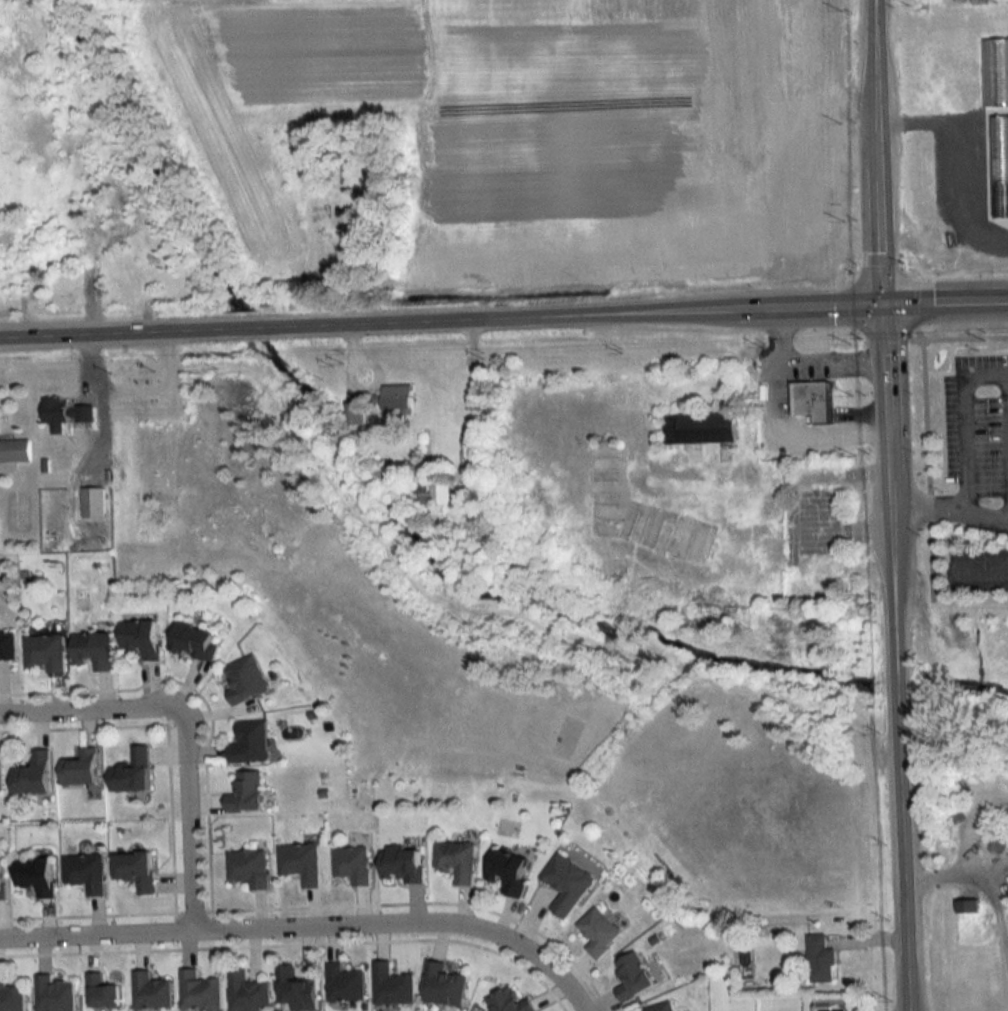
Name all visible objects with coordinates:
road: (873, 63)
building: (994, 73)
crop: (526, 121)
road: (968, 152)
building: (999, 166)
building: (370, 212)
road: (879, 215)
road: (945, 302)
traffic signals: (883, 304)
road: (822, 306)
road: (380, 321)
road: (936, 335)
road: (832, 361)
building: (397, 400)
building: (813, 400)
building: (353, 413)
building: (65, 414)
road: (965, 416)
road: (779, 425)
building: (699, 427)
building: (14, 451)
road: (929, 459)
building: (419, 485)
road: (891, 489)
building: (440, 493)
building: (92, 502)
road: (950, 505)
building: (772, 555)
road: (982, 557)
building: (822, 573)
building: (139, 637)
building: (193, 641)
building: (6, 645)
building: (91, 649)
building: (43, 652)
building: (245, 679)
road: (203, 702)
road: (105, 707)
road: (84, 726)
building: (248, 743)
building: (78, 768)
building: (131, 771)
building: (31, 775)
building: (245, 793)
road: (167, 818)
road: (188, 834)
road: (904, 842)
building: (456, 860)
building: (299, 863)
building: (351, 865)
building: (401, 865)
building: (247, 868)
building: (134, 870)
building: (83, 872)
building: (506, 873)
building: (33, 875)
road: (992, 877)
building: (0, 882)
building: (566, 884)
road: (423, 901)
road: (189, 910)
road: (89, 914)
building: (968, 920)
road: (308, 924)
building: (598, 932)
road: (294, 943)
building: (820, 960)
building: (632, 976)
building: (343, 983)
building: (441, 984)
building: (391, 985)
building: (294, 990)
building: (100, 992)
building: (149, 992)
building: (198, 992)
building: (246, 992)
building: (52, 994)
building: (10, 997)
road: (873, 998)
building: (508, 1001)
building: (660, 1007)

